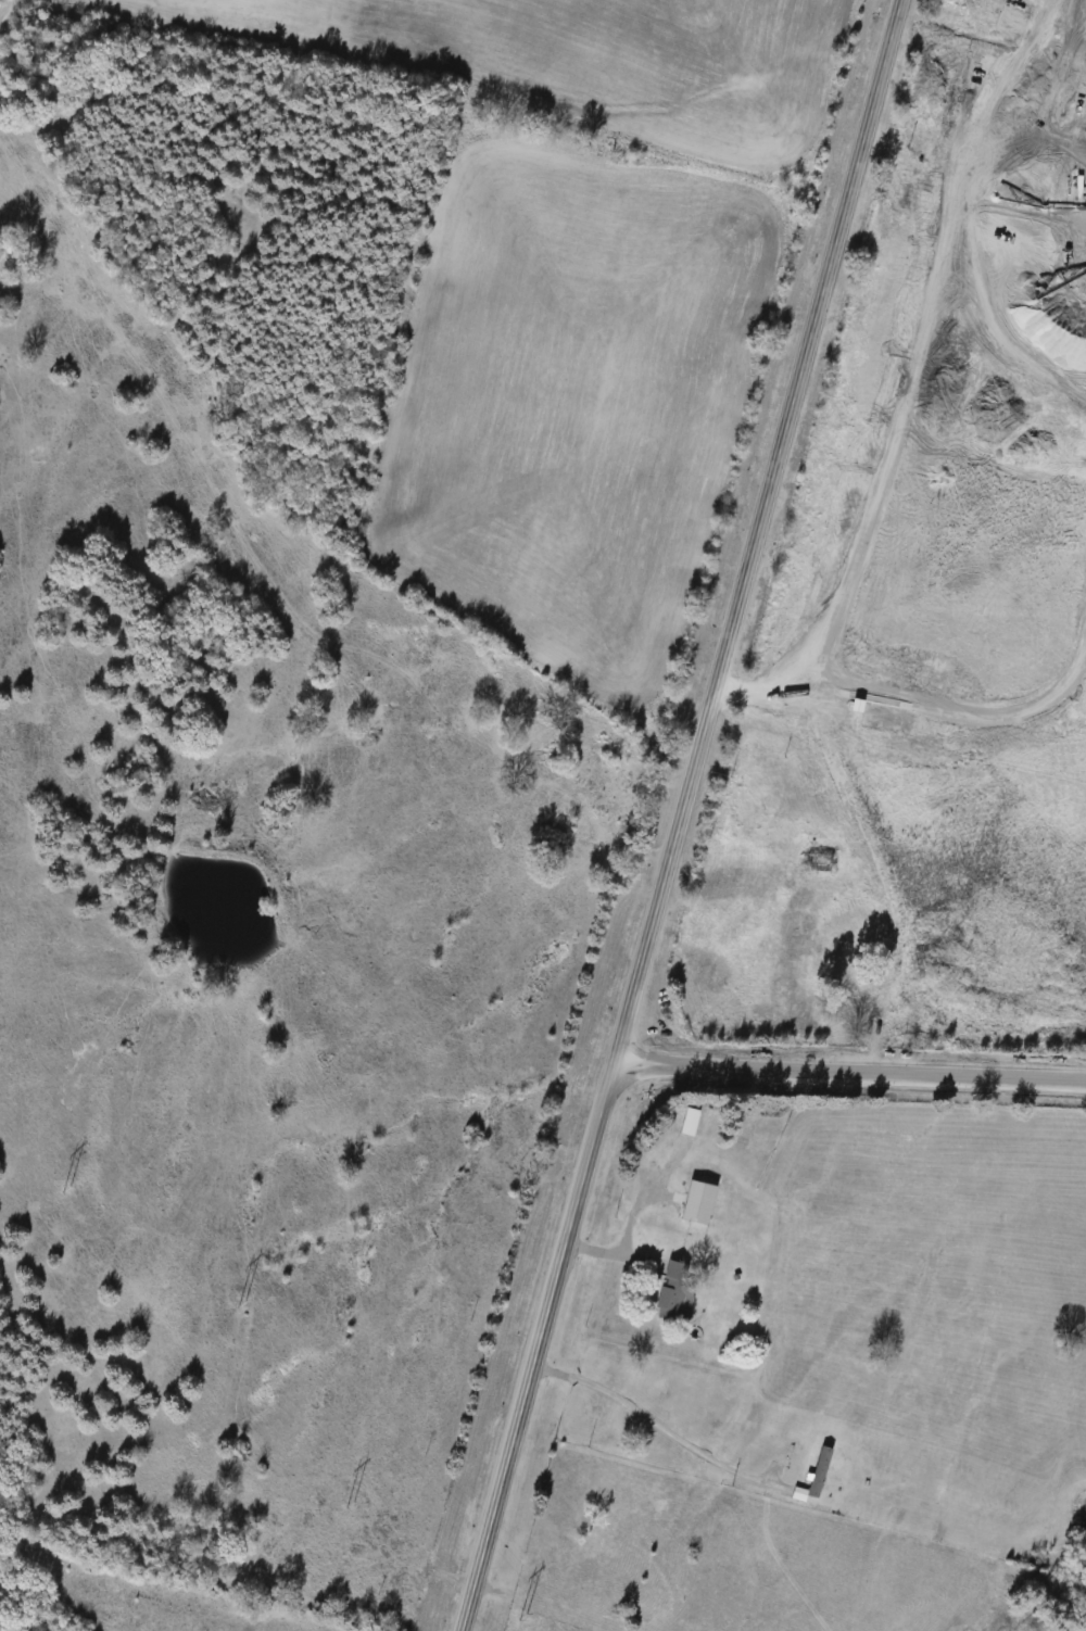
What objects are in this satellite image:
road: (756, 530)
road: (850, 1070)
building: (685, 1122)
power tower: (66, 1187)
building: (693, 1202)
building: (674, 1299)
power tower: (238, 1306)
road: (538, 1345)
road: (656, 1423)
power tower: (348, 1508)
power tower: (522, 1619)

